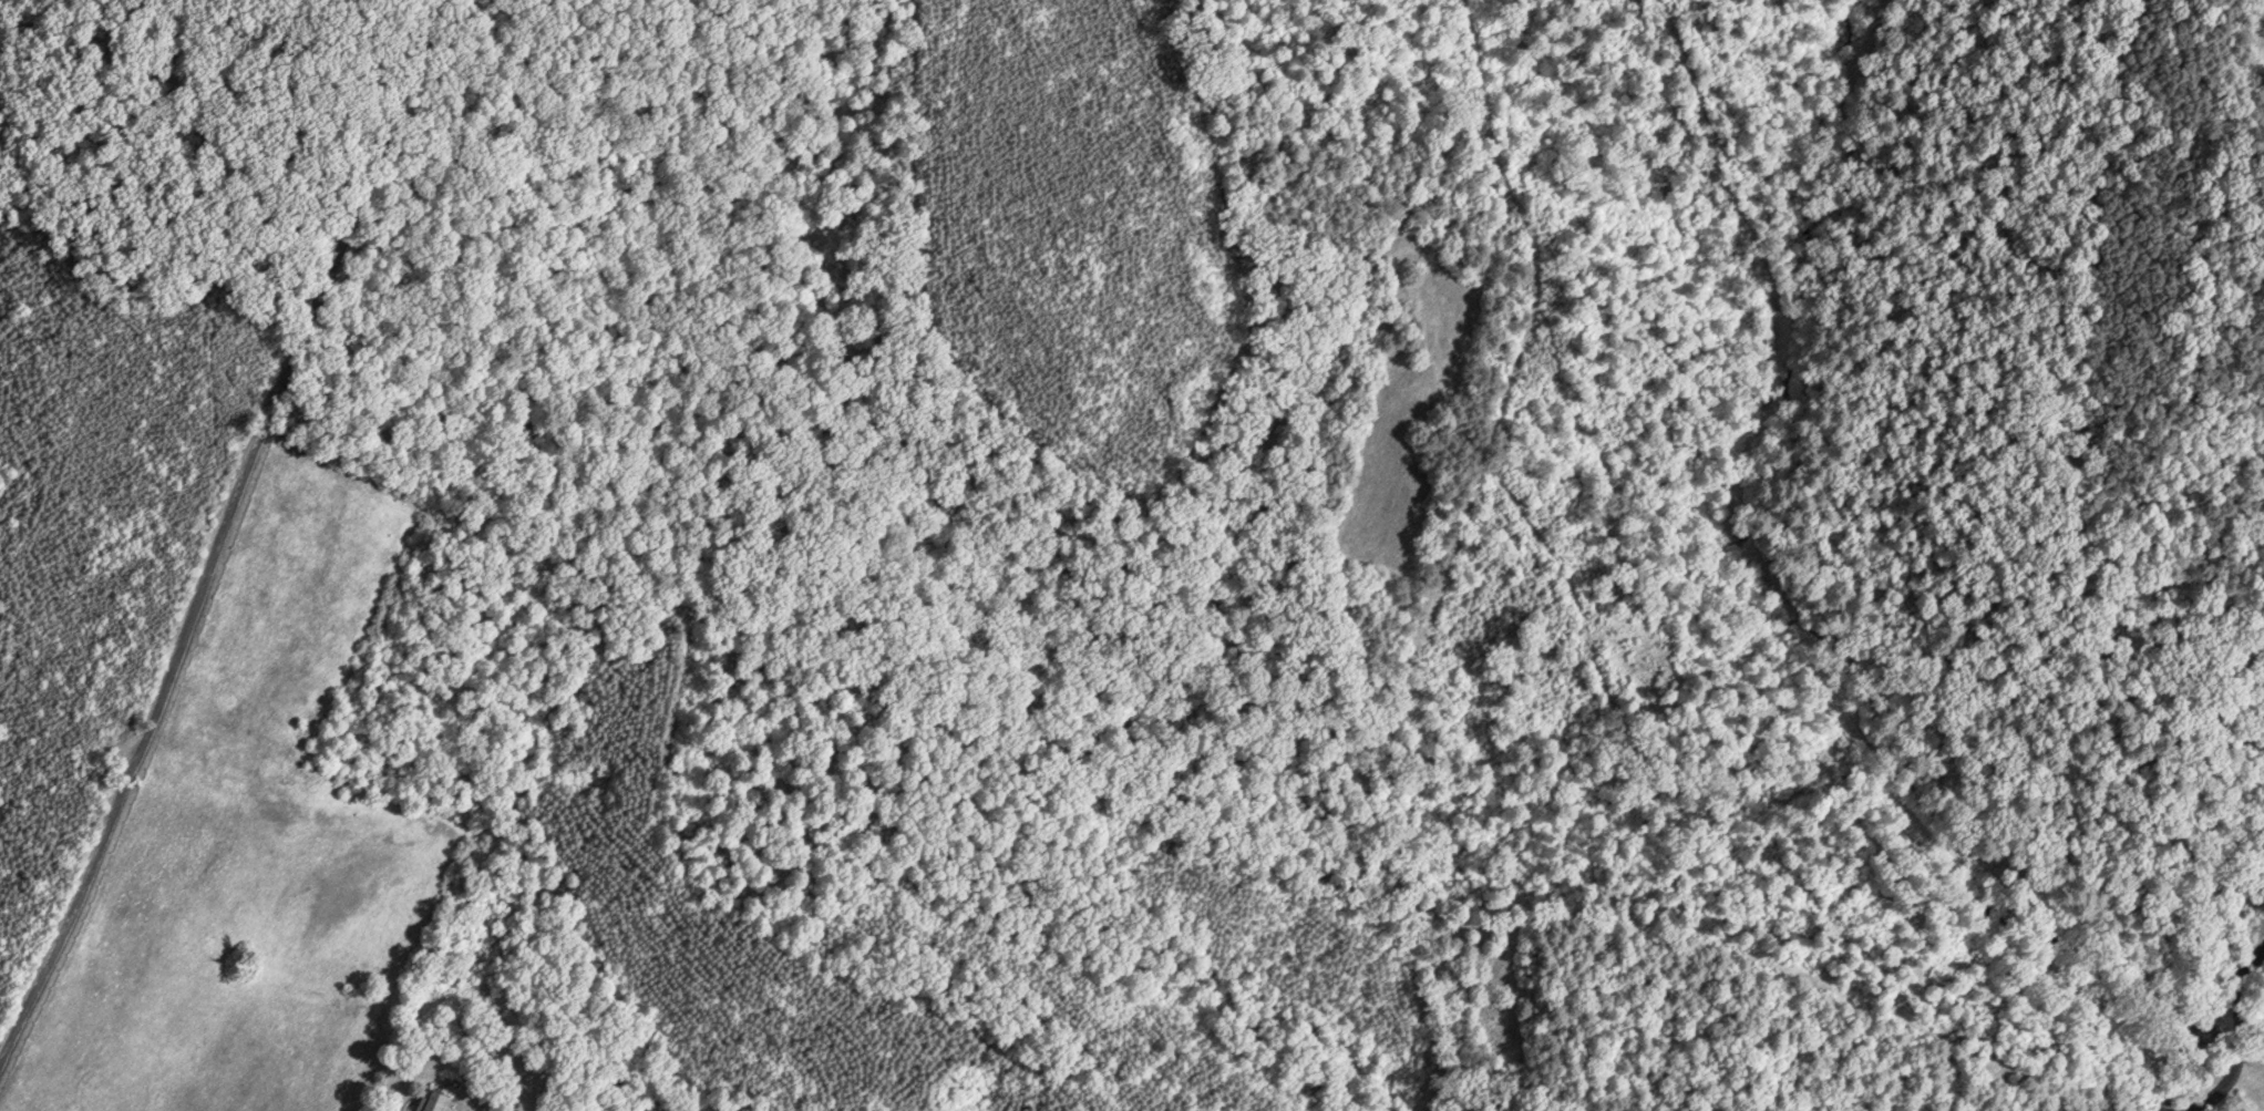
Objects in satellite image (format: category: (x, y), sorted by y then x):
road: (223, 534)
building: (2204, 1032)
road: (2240, 1036)
building: (433, 1101)

